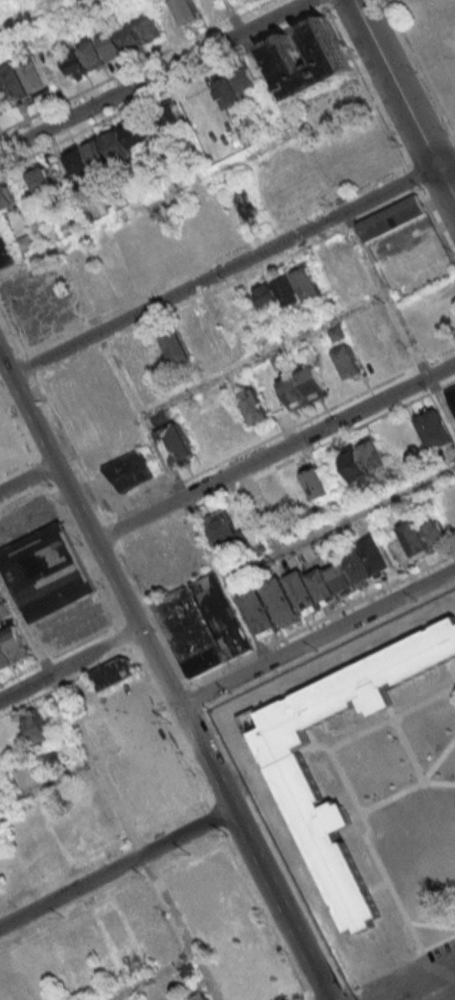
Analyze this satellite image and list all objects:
road: (320, 1)
building: (186, 11)
road: (25, 12)
road: (232, 16)
building: (113, 43)
building: (328, 53)
road: (133, 66)
road: (420, 69)
road: (154, 75)
building: (25, 81)
road: (171, 84)
building: (235, 85)
road: (364, 86)
road: (403, 101)
building: (170, 117)
road: (298, 119)
road: (453, 142)
building: (107, 151)
road: (431, 153)
road: (445, 161)
road: (408, 165)
building: (40, 179)
road: (411, 180)
road: (440, 181)
building: (6, 196)
road: (151, 202)
road: (390, 205)
building: (246, 207)
building: (391, 217)
road: (354, 223)
road: (435, 226)
building: (24, 243)
building: (6, 253)
road: (222, 271)
building: (307, 281)
building: (92, 282)
building: (278, 291)
road: (398, 319)
building: (337, 333)
building: (389, 339)
building: (177, 347)
road: (264, 355)
road: (441, 355)
building: (349, 362)
road: (421, 364)
road: (447, 385)
building: (303, 386)
road: (433, 391)
building: (452, 395)
building: (254, 406)
road: (54, 417)
building: (160, 417)
road: (300, 425)
building: (434, 430)
building: (176, 443)
road: (312, 451)
road: (274, 453)
building: (363, 459)
building: (129, 471)
road: (26, 478)
building: (316, 482)
road: (177, 485)
road: (182, 498)
building: (278, 500)
road: (139, 504)
road: (59, 511)
road: (191, 511)
building: (449, 518)
road: (341, 522)
road: (151, 530)
building: (224, 530)
road: (109, 534)
building: (423, 536)
building: (46, 572)
building: (316, 586)
road: (5, 596)
road: (361, 602)
road: (152, 617)
road: (127, 620)
building: (202, 626)
road: (123, 638)
road: (317, 639)
road: (86, 641)
building: (16, 644)
road: (261, 651)
building: (4, 657)
road: (44, 662)
road: (69, 664)
road: (297, 665)
road: (96, 669)
road: (219, 671)
building: (114, 673)
road: (19, 675)
road: (164, 678)
road: (57, 688)
road: (173, 694)
road: (197, 699)
road: (159, 701)
road: (26, 704)
road: (204, 709)
building: (35, 726)
road: (168, 728)
building: (52, 760)
building: (292, 774)
building: (151, 776)
road: (47, 781)
road: (242, 785)
road: (108, 787)
road: (172, 816)
road: (215, 818)
building: (422, 822)
building: (85, 823)
road: (260, 825)
building: (65, 830)
road: (241, 830)
road: (133, 835)
road: (194, 856)
road: (115, 868)
road: (64, 870)
road: (154, 876)
road: (299, 894)
road: (263, 914)
road: (74, 915)
building: (117, 929)
building: (36, 970)
road: (155, 977)
road: (411, 981)
building: (269, 984)
road: (351, 997)
building: (205, 998)

